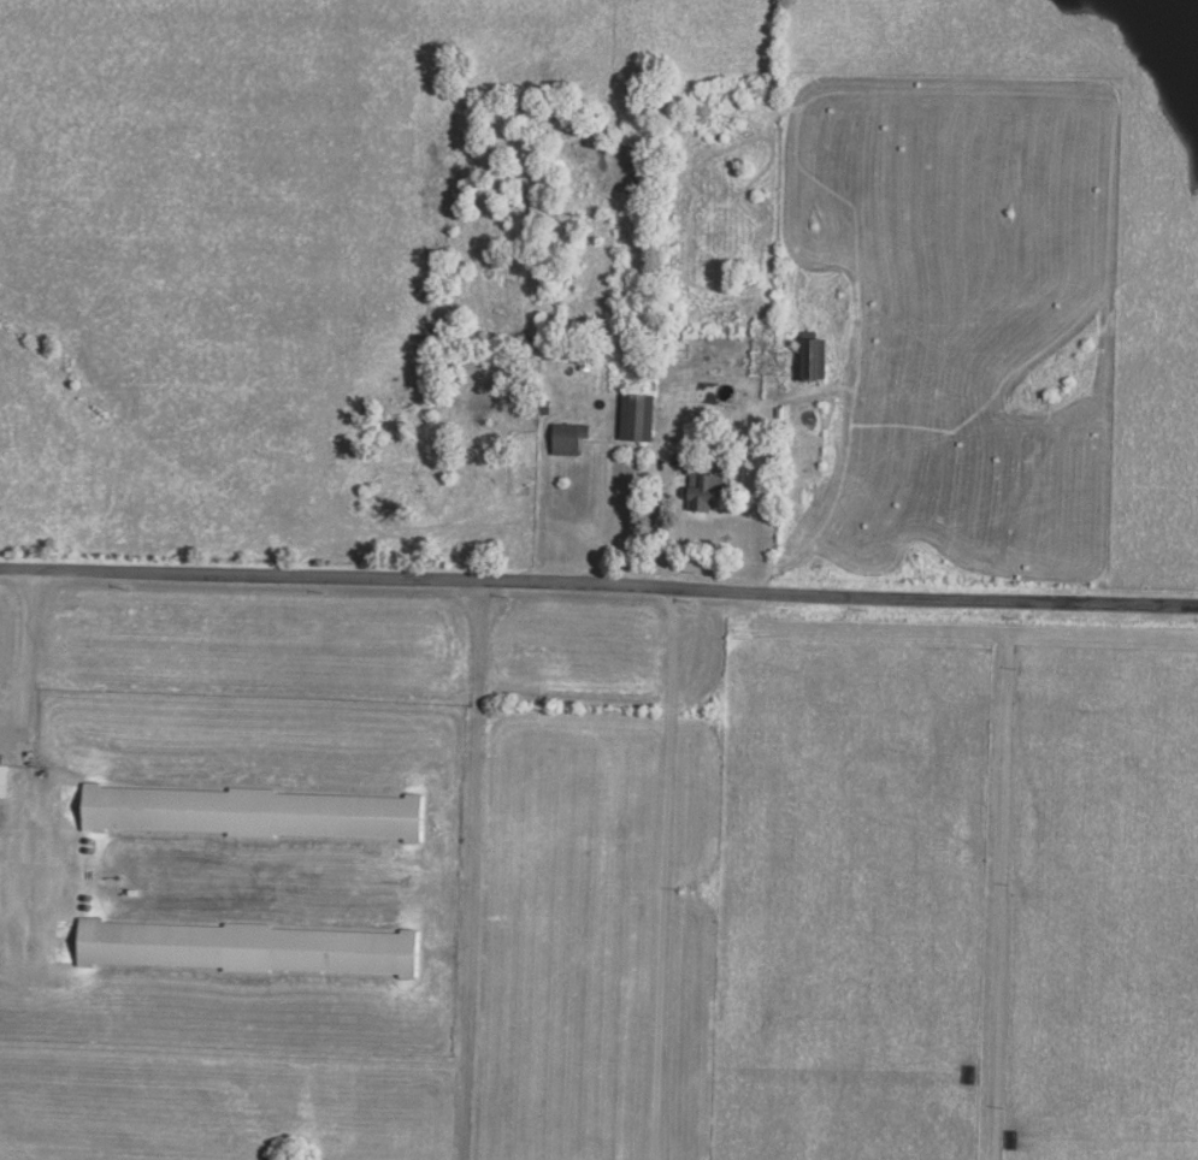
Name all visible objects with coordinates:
building: (813, 359)
building: (639, 416)
building: (570, 438)
building: (707, 489)
road: (598, 582)
road: (24, 659)
building: (5, 780)
building: (254, 811)
road: (472, 869)
building: (248, 946)

